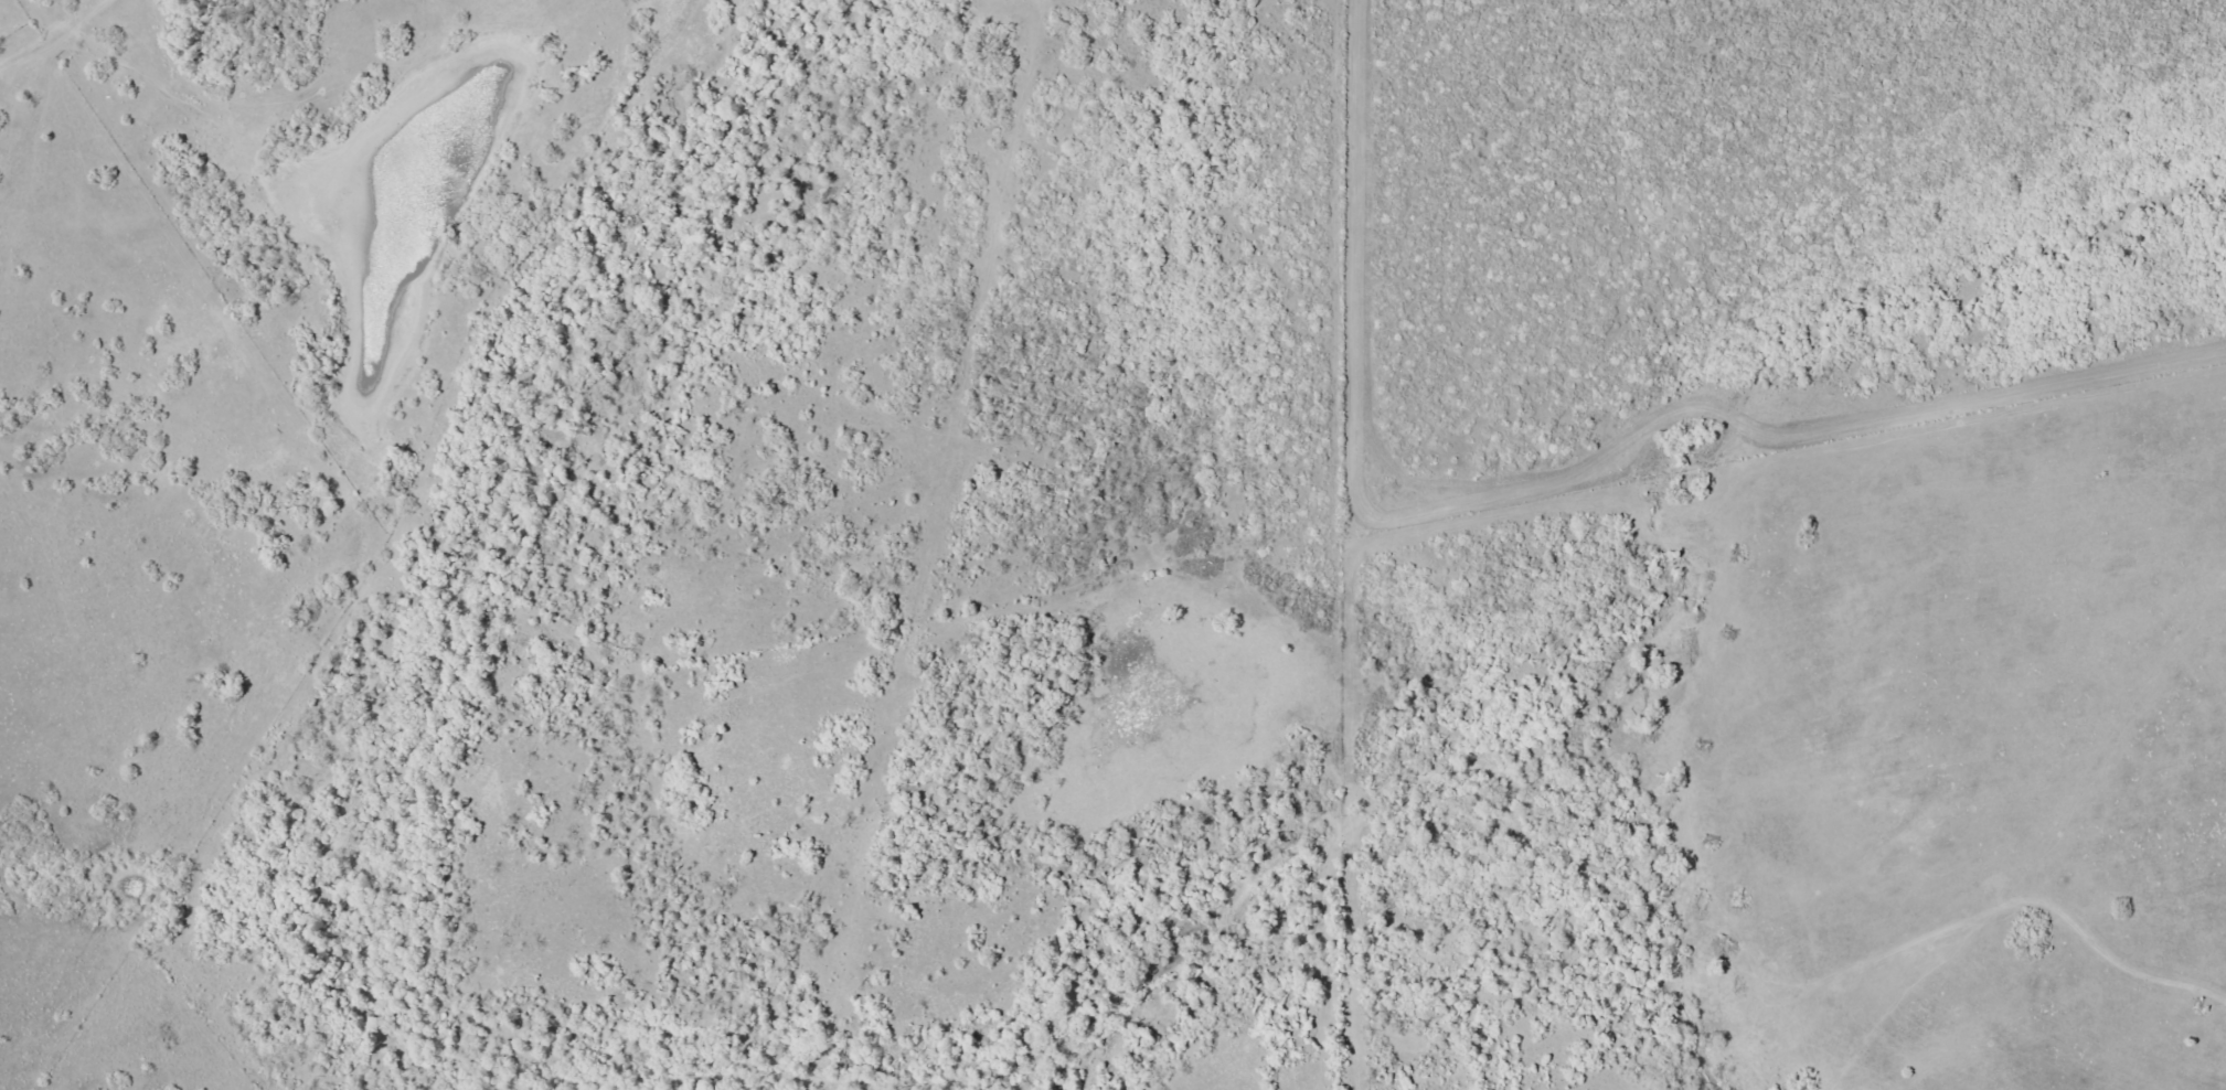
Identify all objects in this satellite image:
road: (1978, 943)

